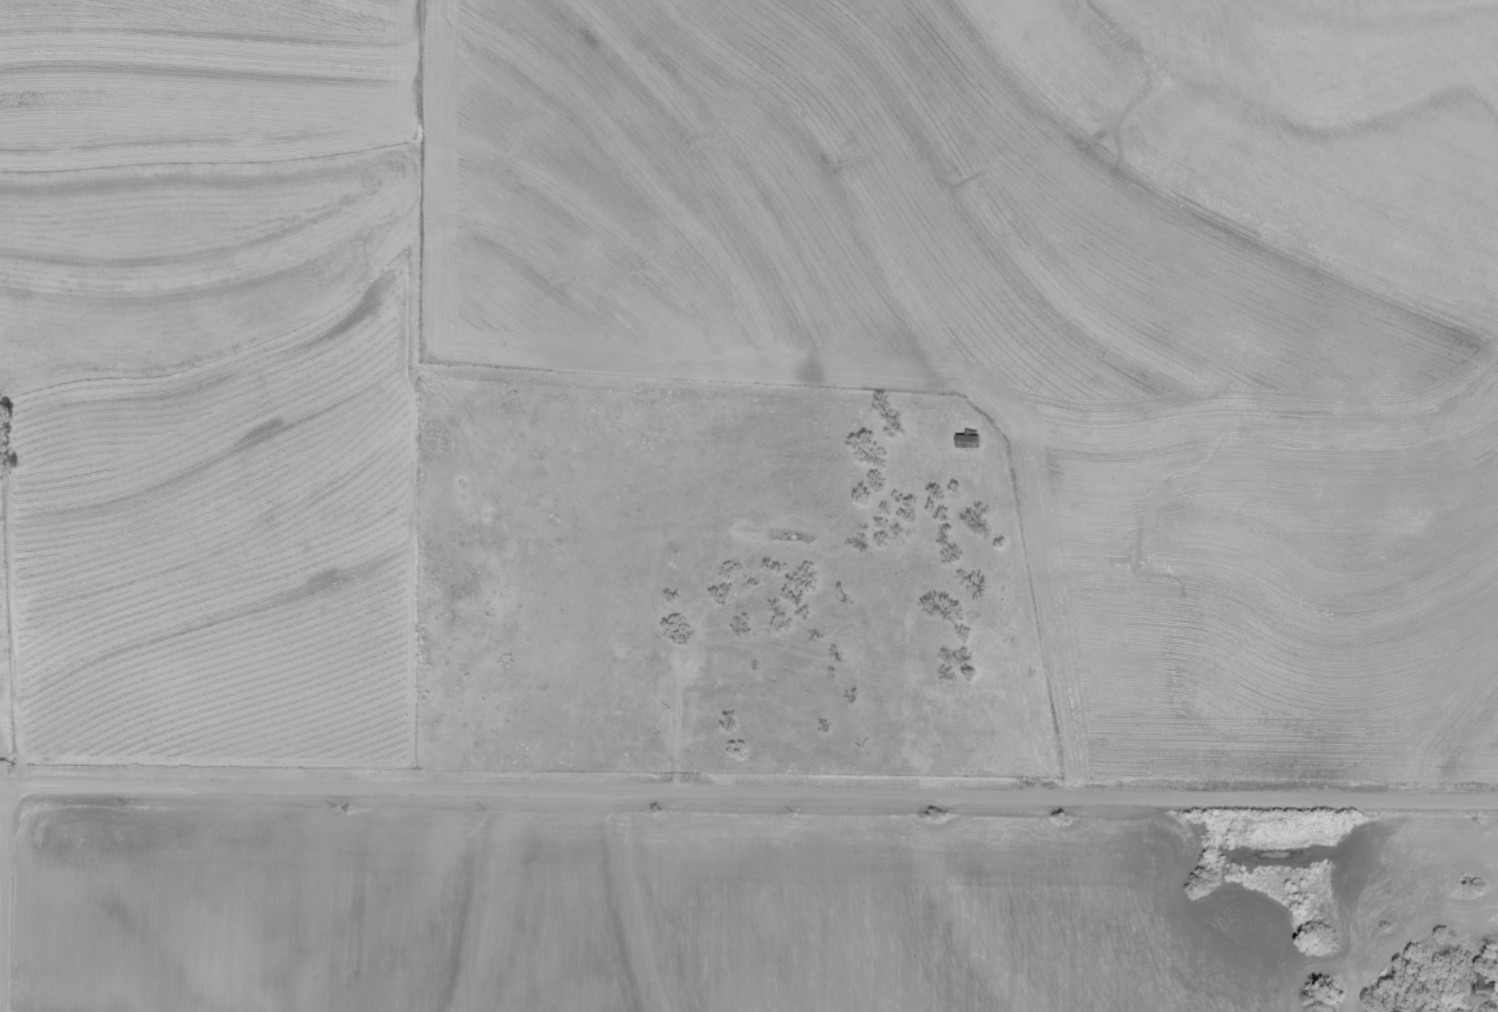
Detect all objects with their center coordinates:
road: (6, 735)
road: (749, 784)
road: (6, 893)

